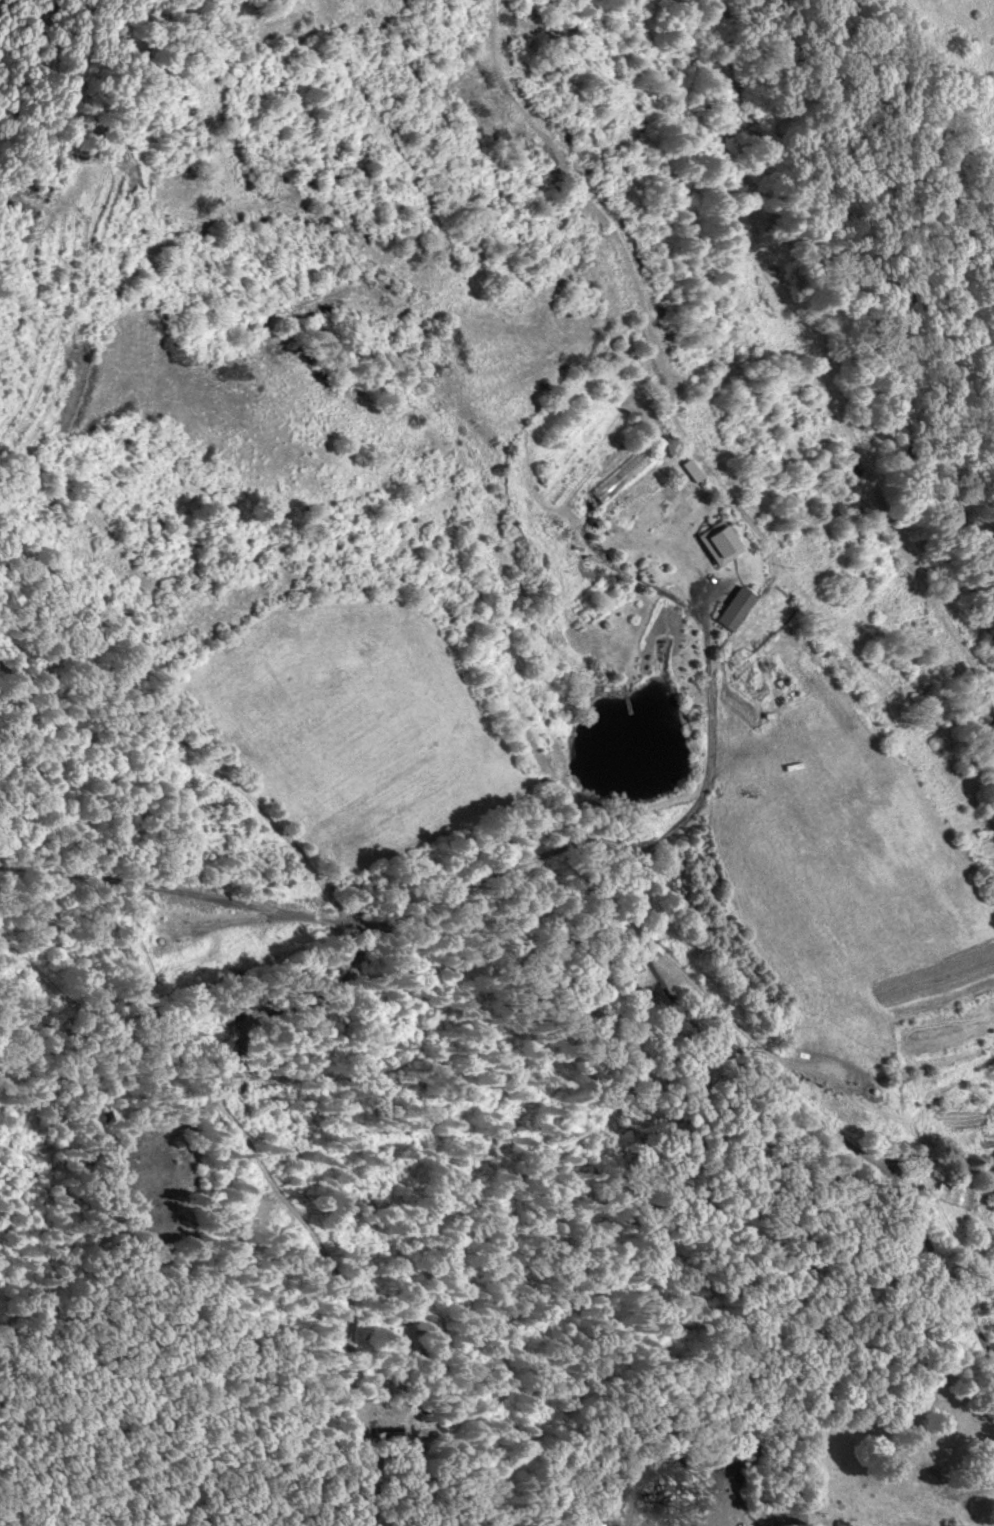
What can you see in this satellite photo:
building: (713, 545)
building: (731, 610)
building: (790, 767)

